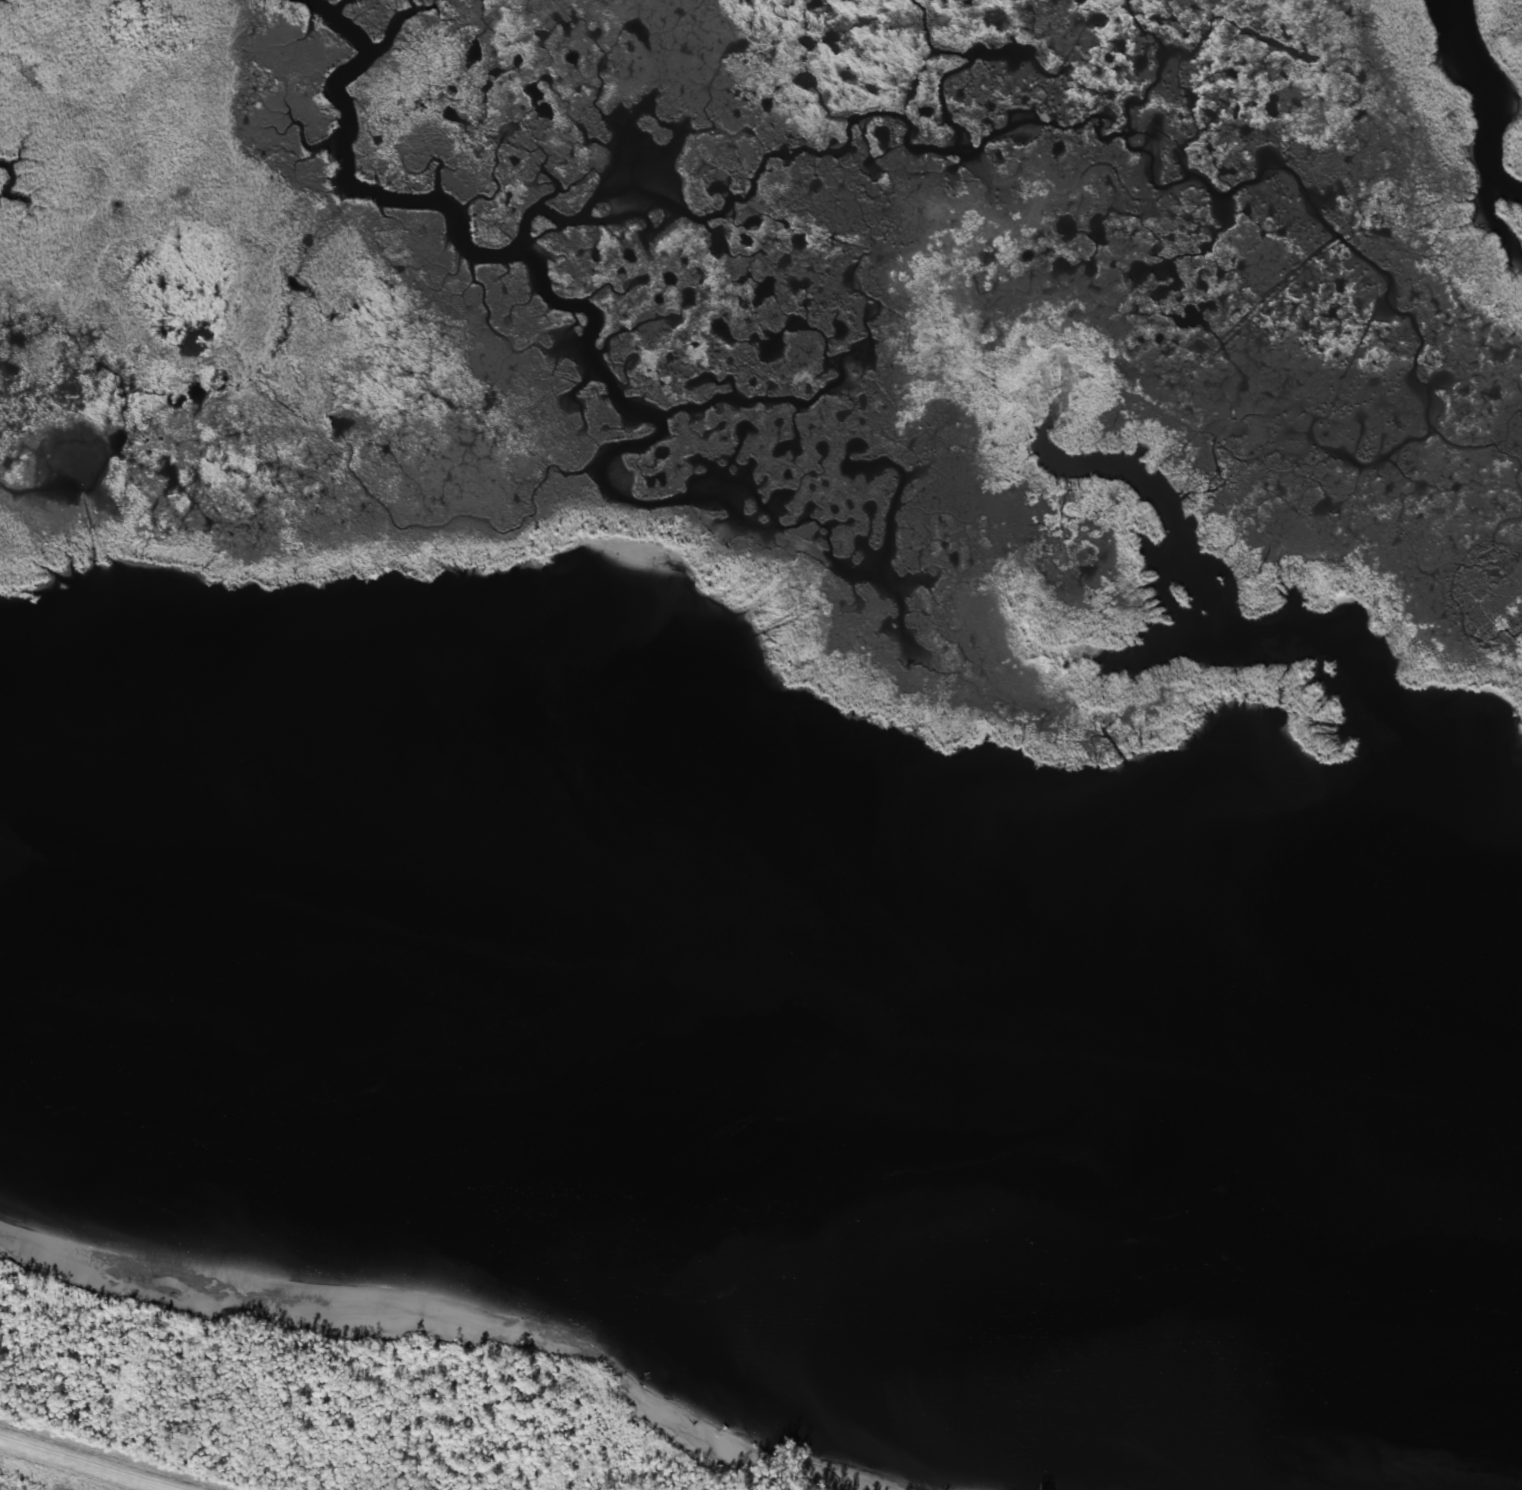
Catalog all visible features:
river: (761, 1042)

